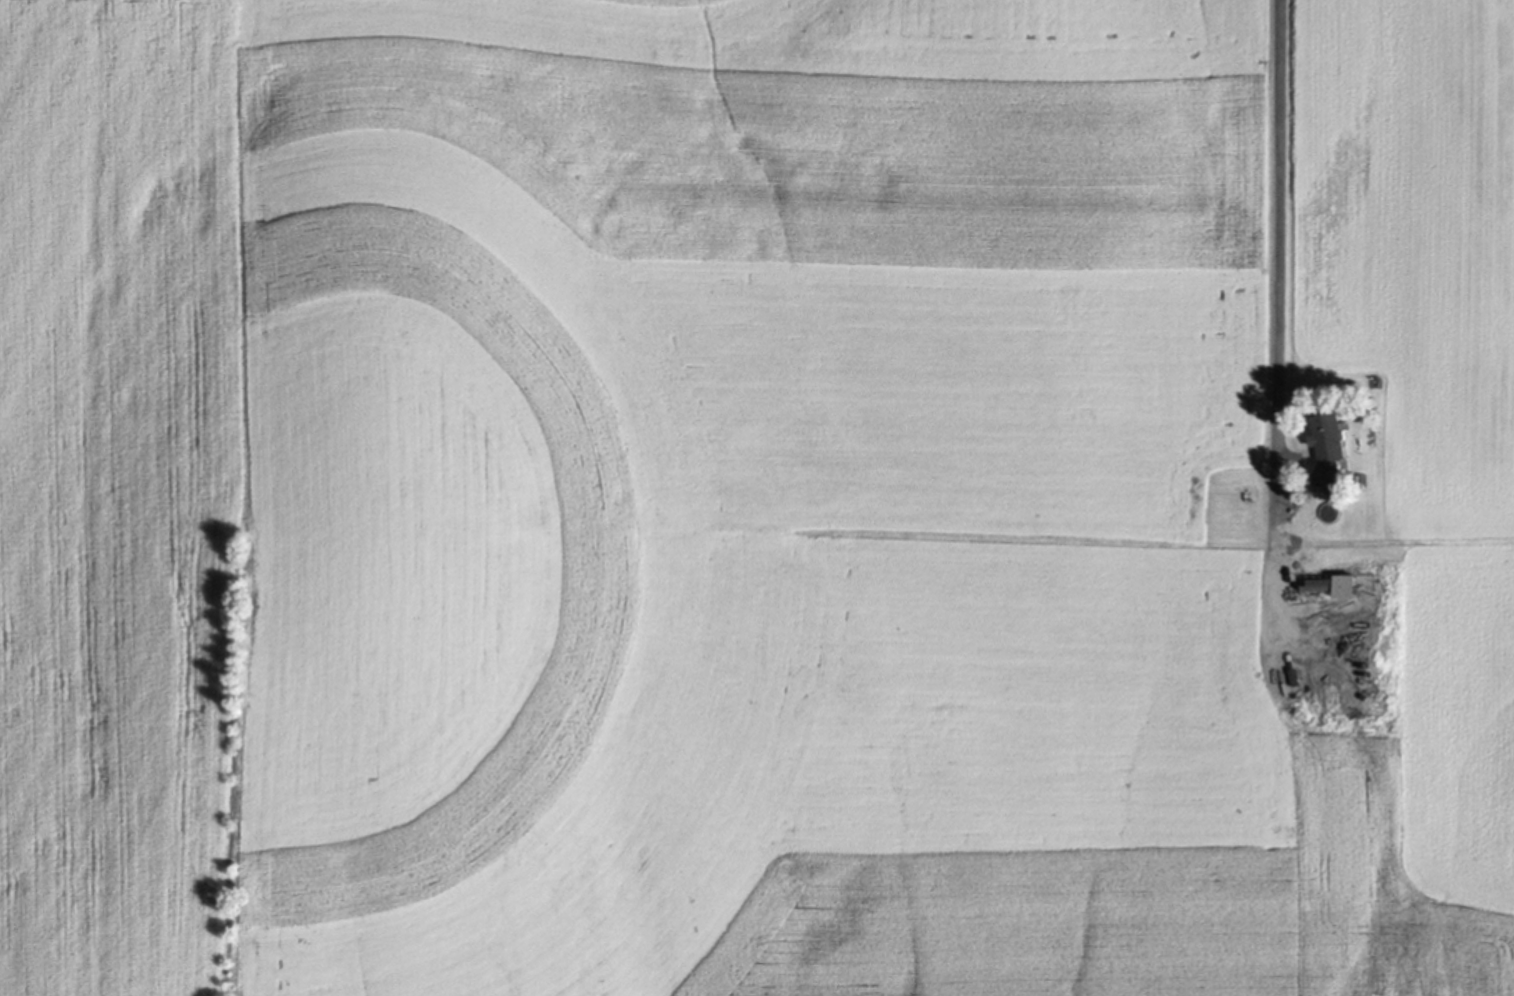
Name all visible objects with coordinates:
road: (1278, 302)
building: (1327, 439)
building: (1319, 596)

